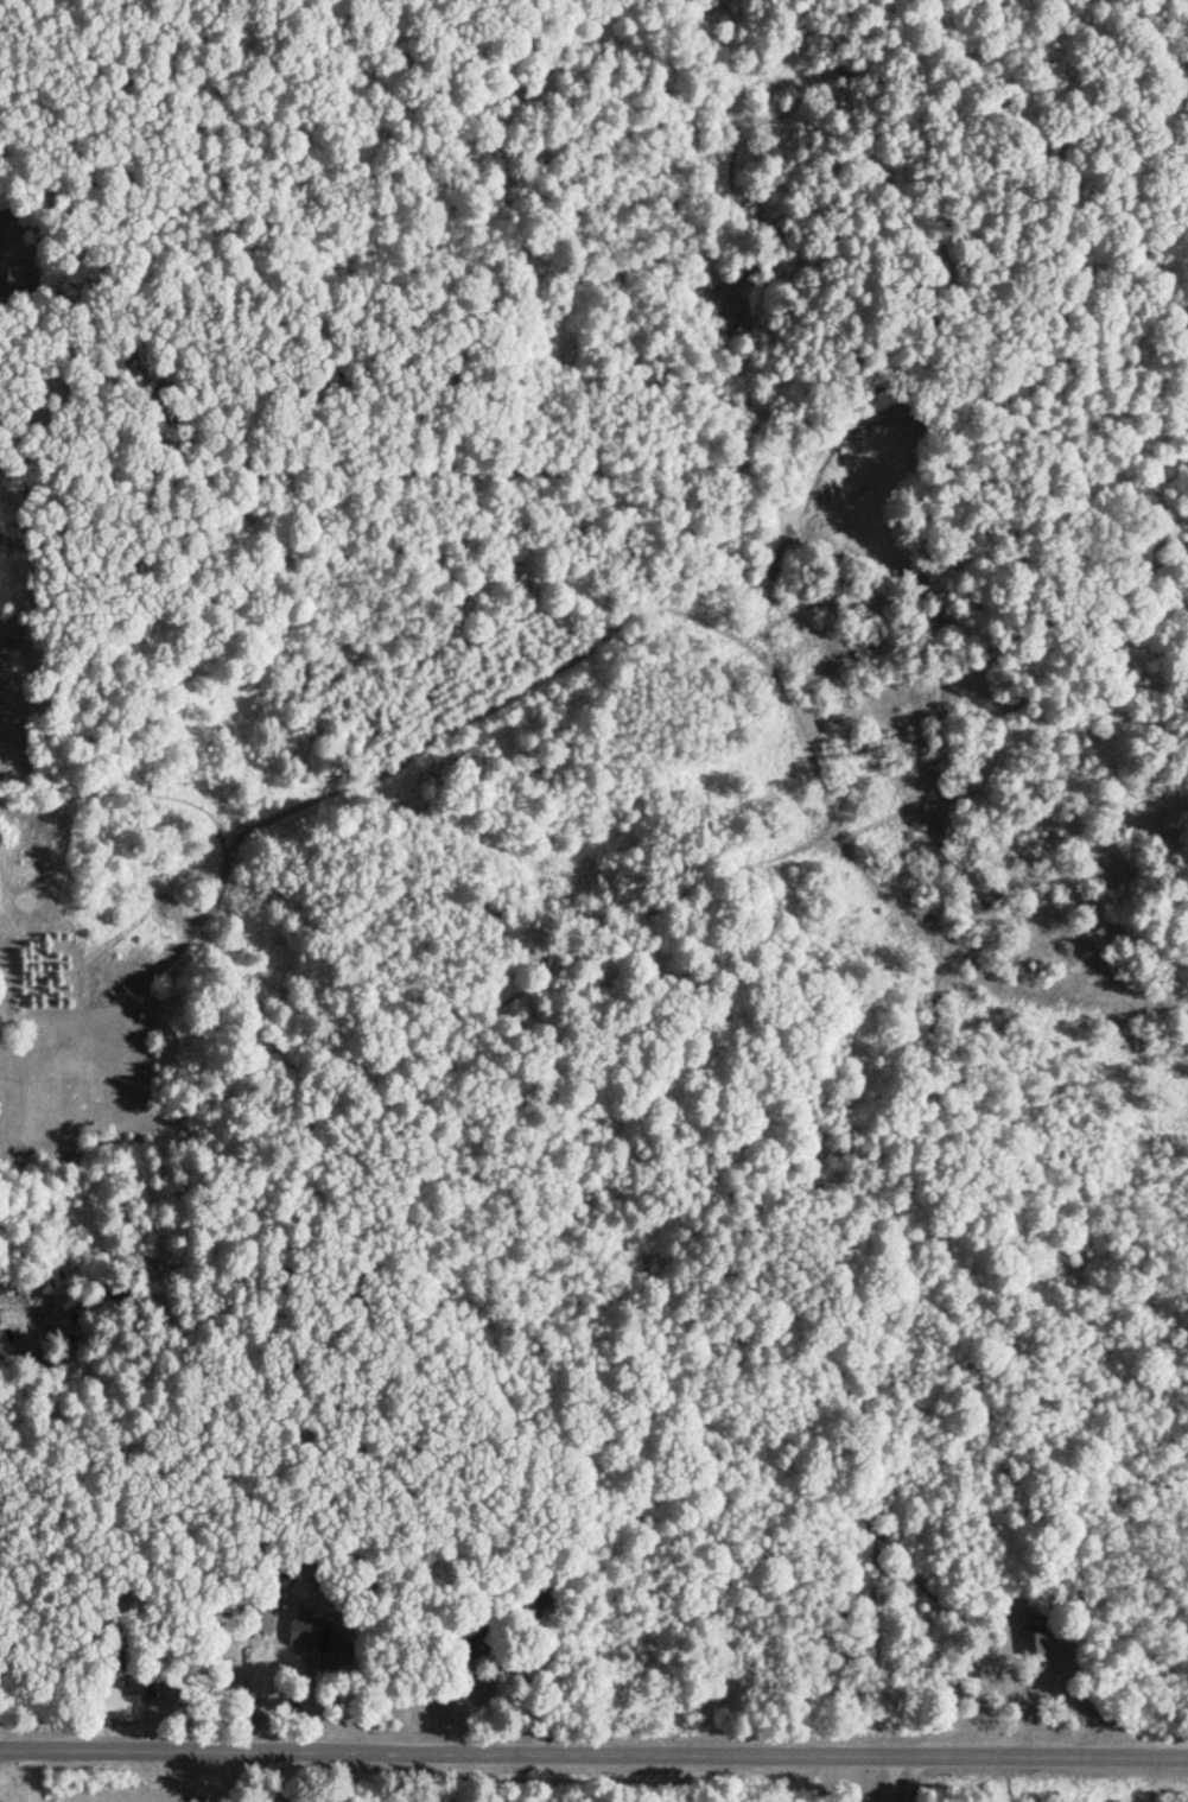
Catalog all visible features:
building: (19, 281)
building: (541, 1599)
building: (260, 1614)
building: (320, 1641)
building: (471, 1641)
building: (1033, 1642)
building: (154, 1665)
building: (113, 1703)
road: (593, 1752)

